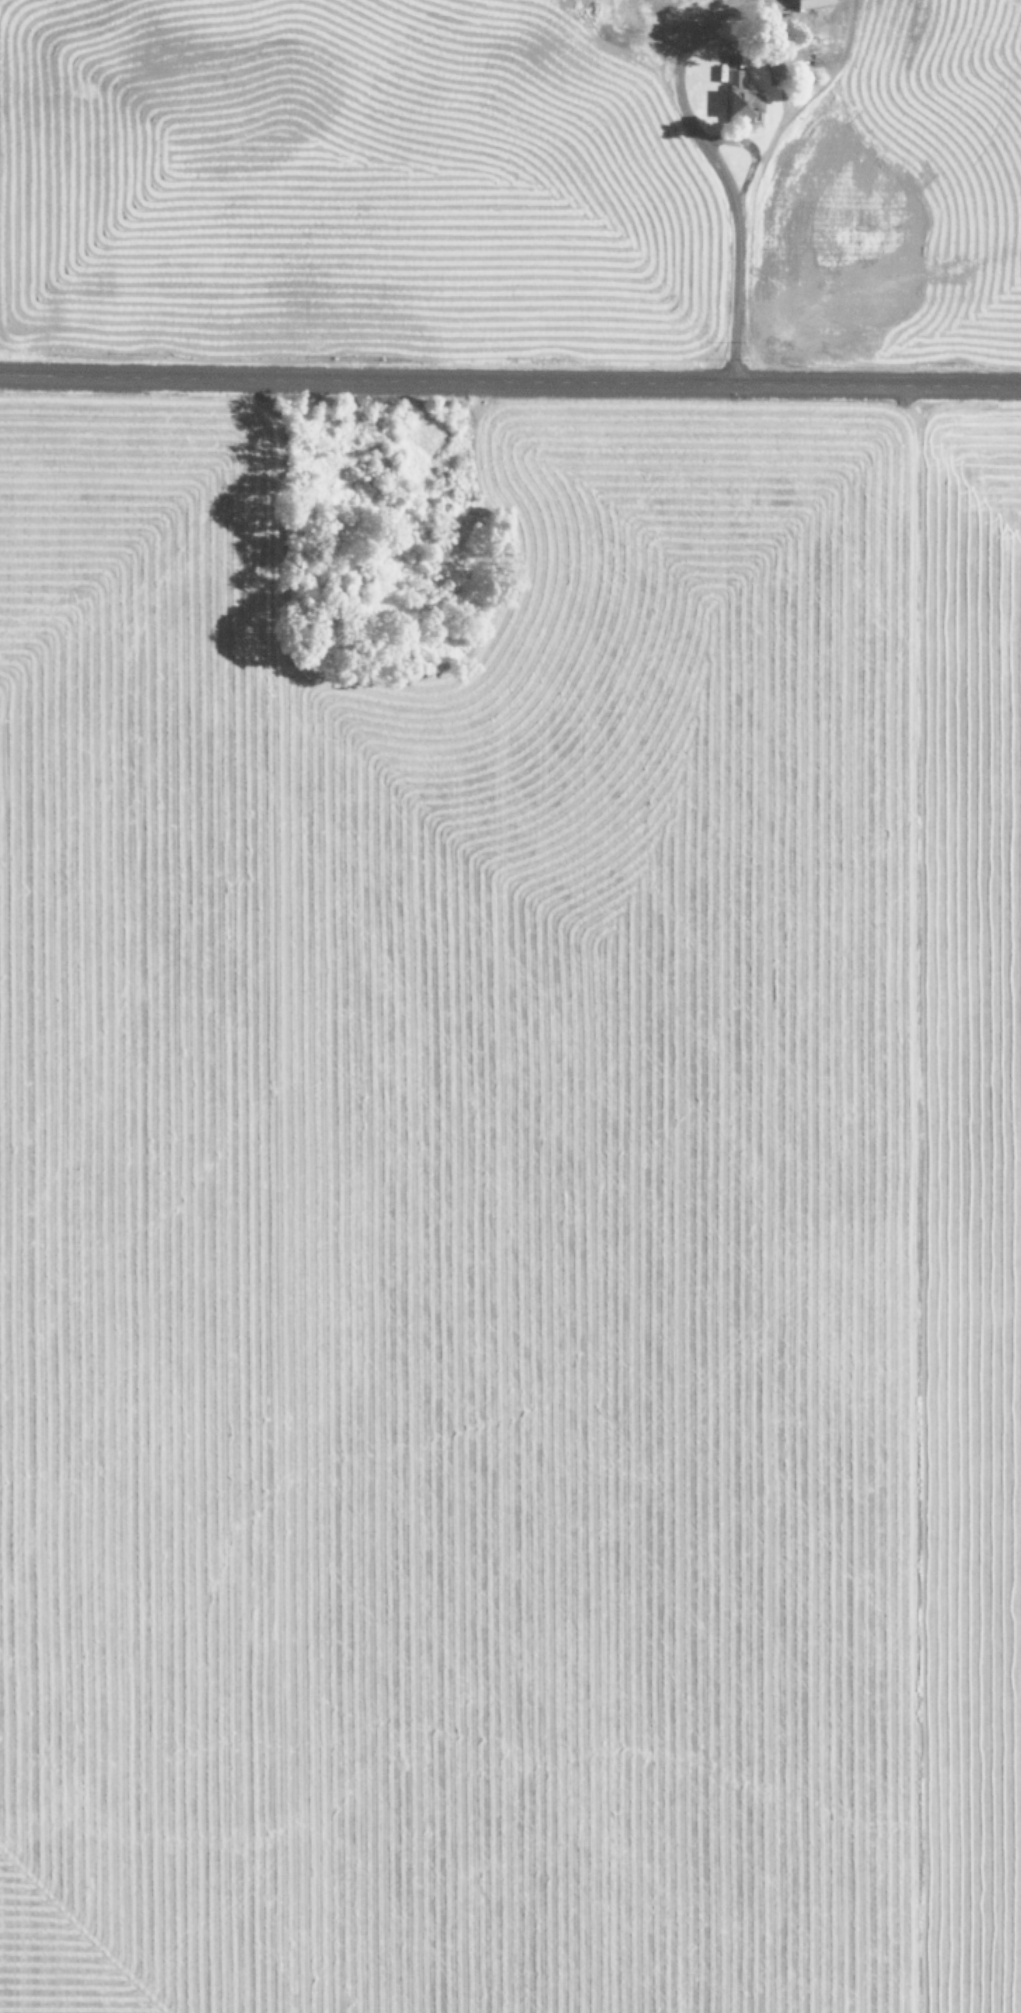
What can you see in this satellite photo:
building: (814, 3)
building: (743, 98)
crop: (512, 178)
road: (510, 382)
crop: (509, 1204)

